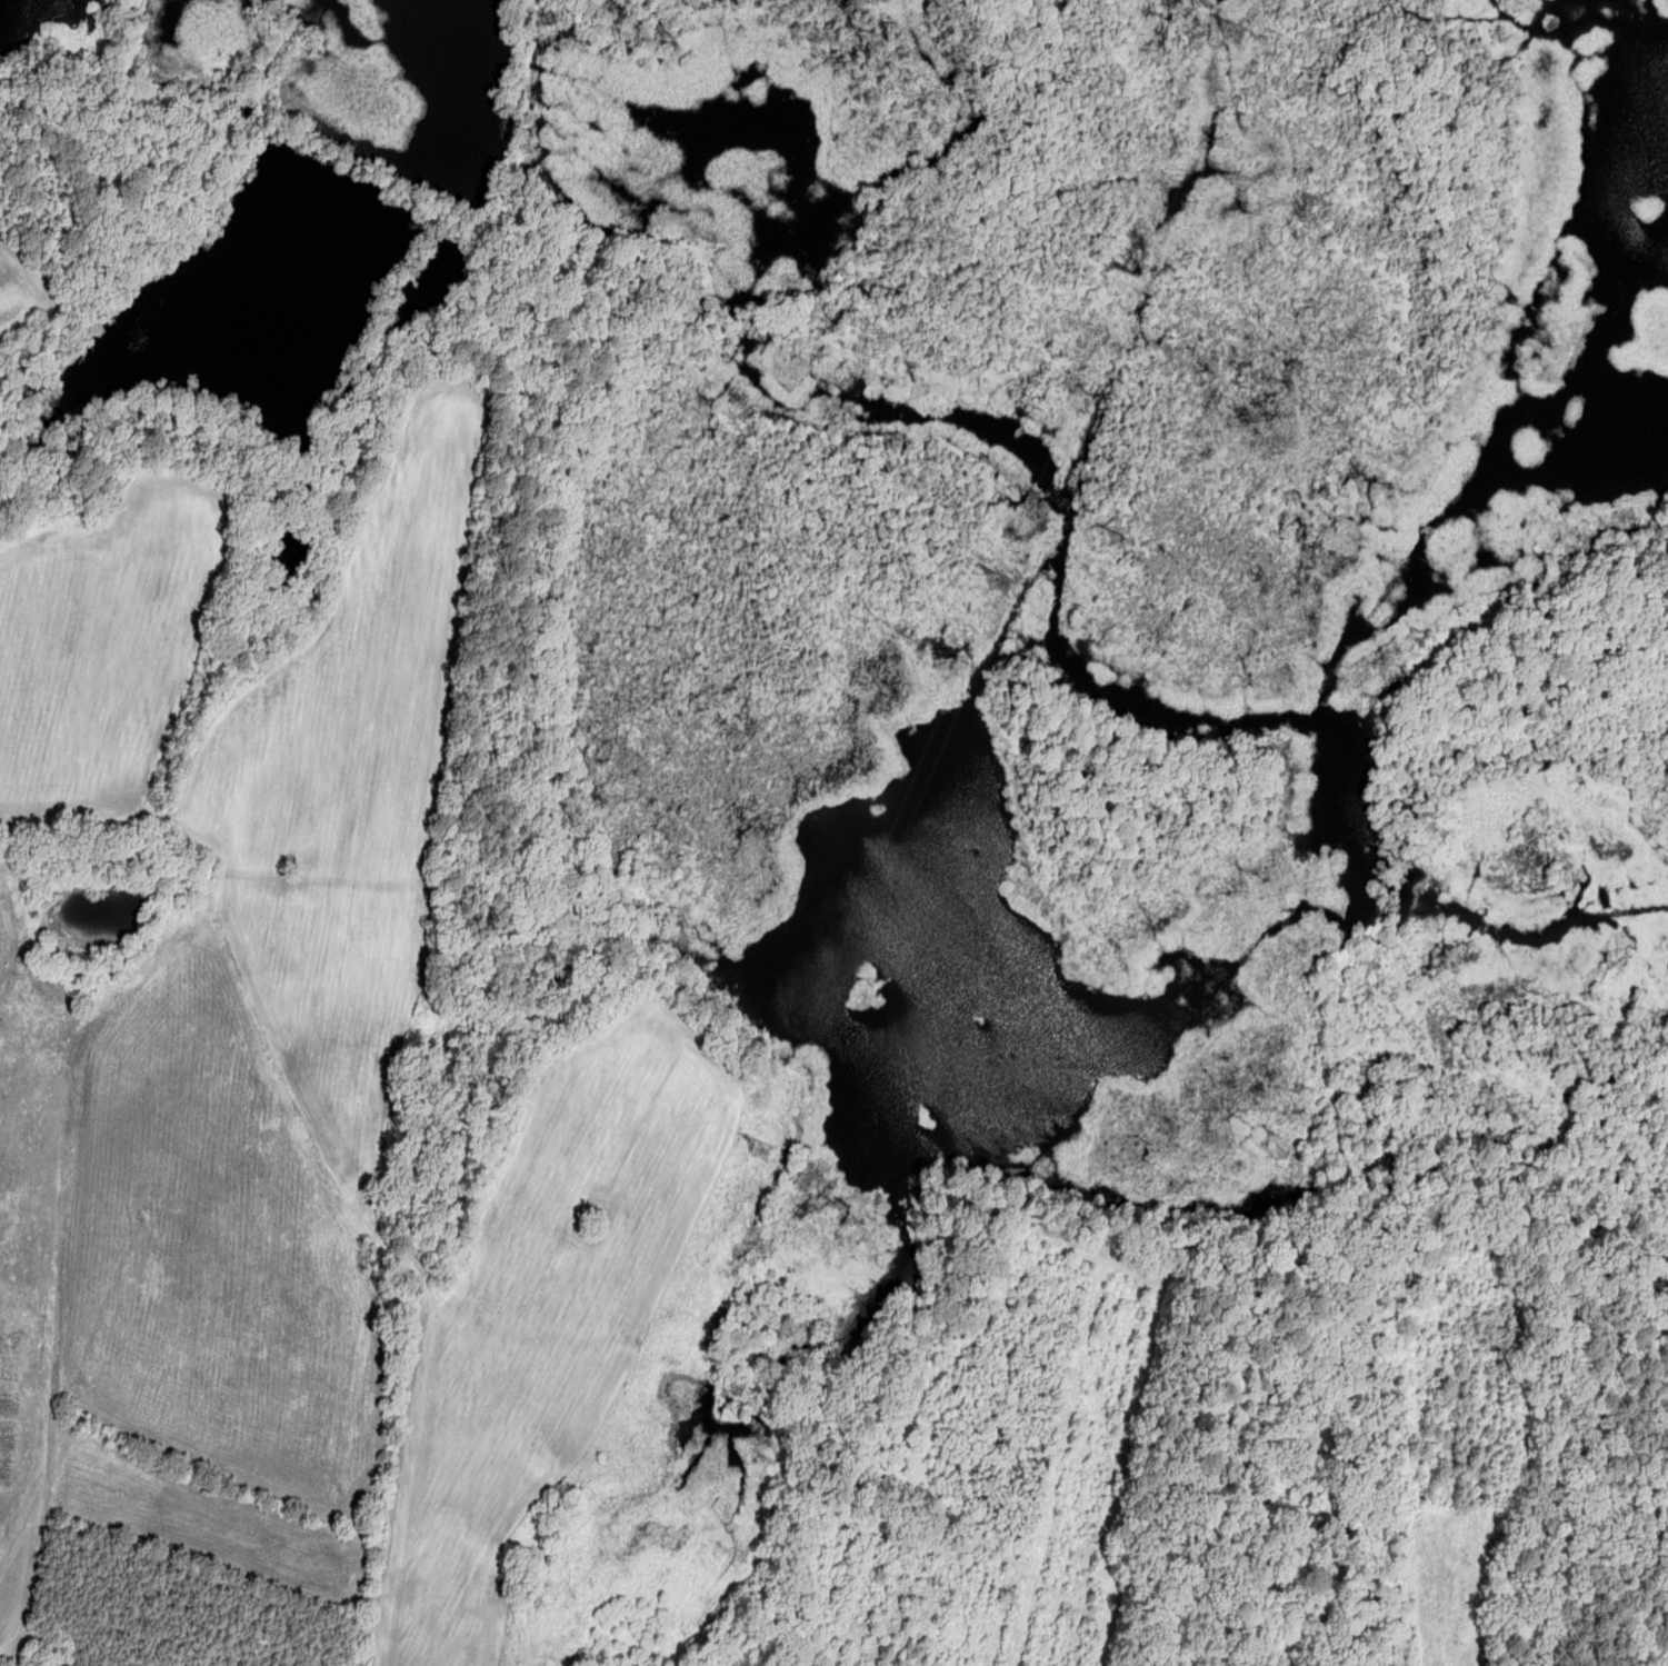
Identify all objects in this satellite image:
power tower: (1239, 32)
power tower: (1008, 586)
road: (483, 734)
power tower: (769, 1151)
road: (1041, 1223)
crop: (169, 1610)

